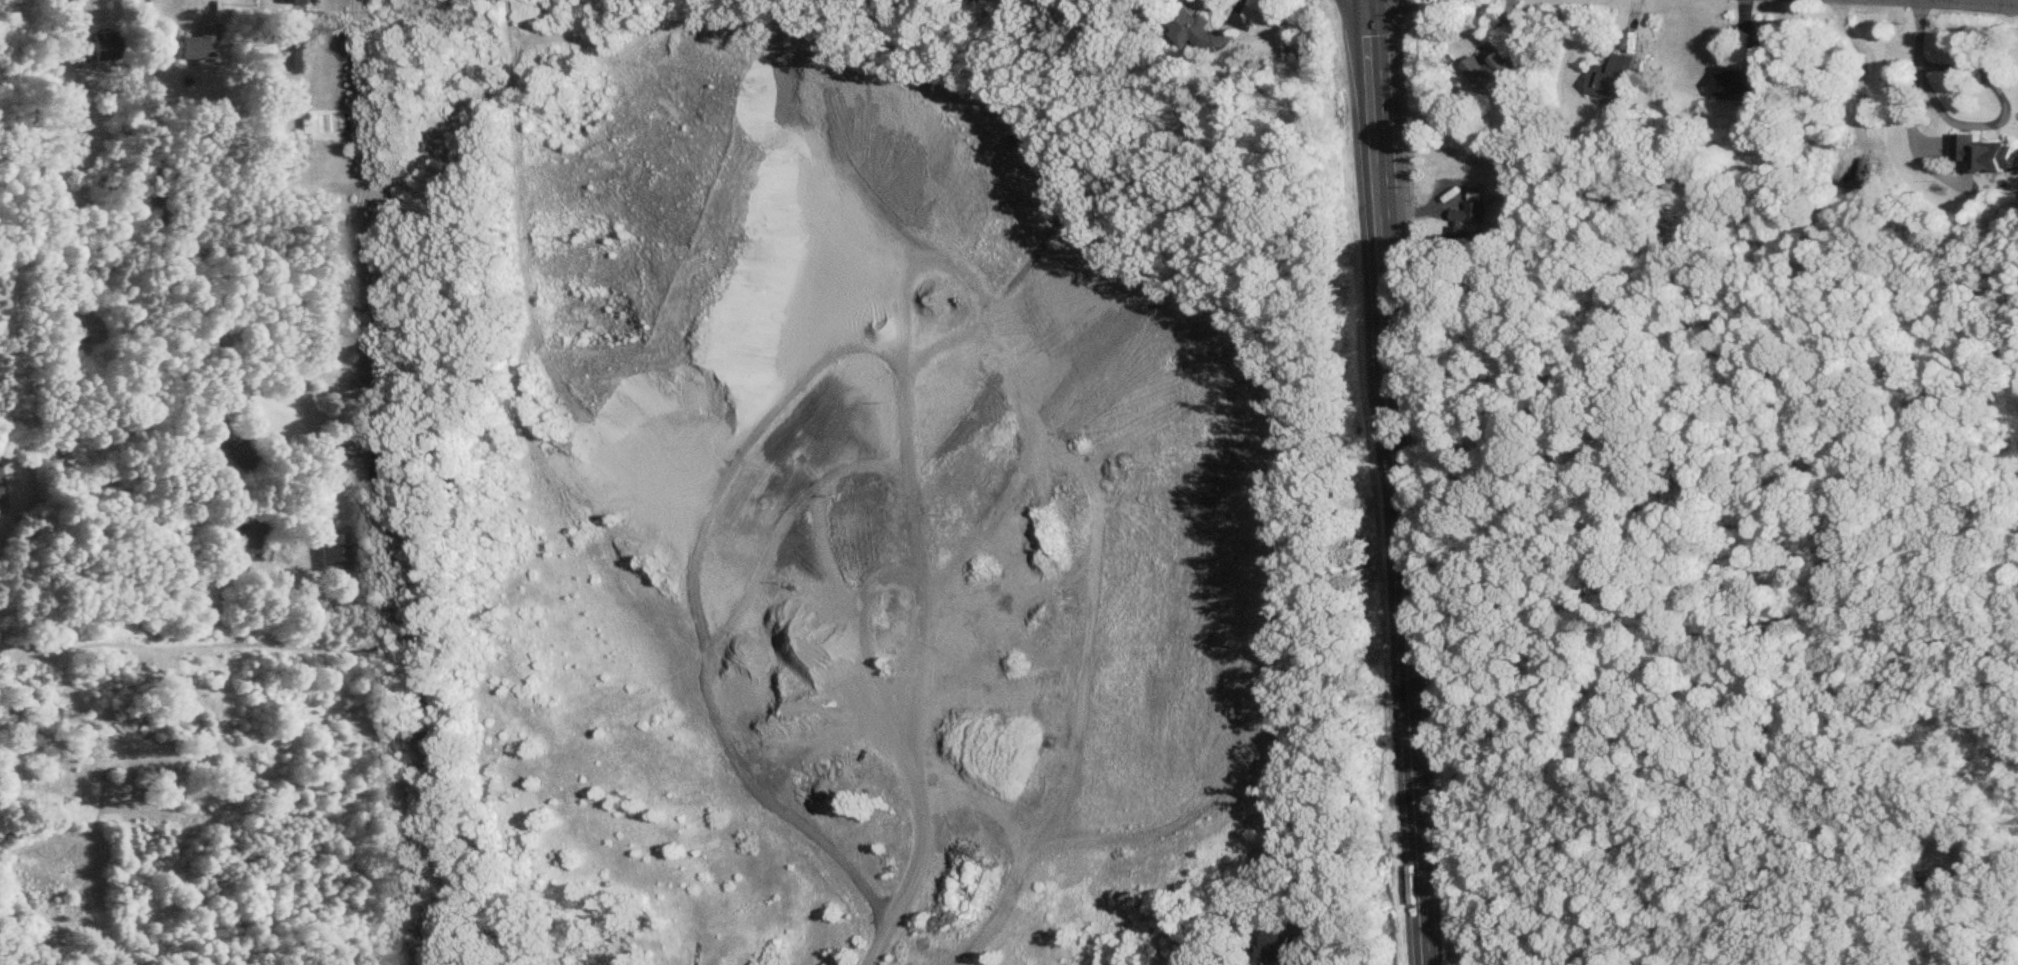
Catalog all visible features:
building: (291, 2)
road: (1947, 3)
road: (1998, 3)
building: (1203, 31)
building: (196, 45)
building: (106, 47)
building: (1493, 75)
road: (1916, 75)
building: (1615, 80)
building: (1744, 85)
road: (2006, 120)
building: (1988, 155)
road: (158, 190)
road: (361, 214)
building: (1471, 215)
road: (19, 247)
building: (73, 335)
building: (224, 453)
building: (393, 466)
road: (1395, 482)
road: (199, 493)
building: (251, 534)
building: (332, 554)
road: (1678, 648)
park: (1699, 720)
road: (1978, 866)
building: (1938, 876)
building: (1274, 948)
road: (2015, 960)
road: (1311, 963)

